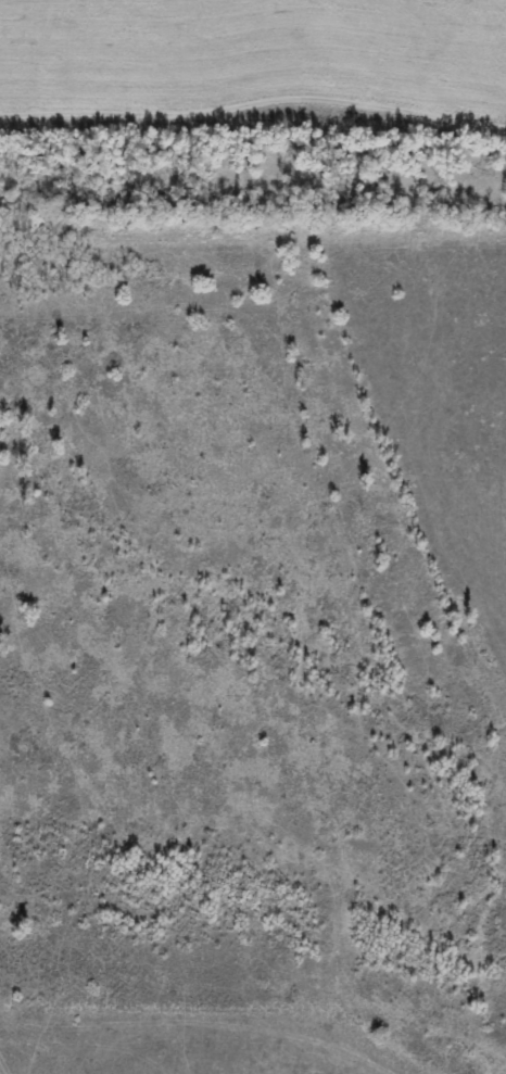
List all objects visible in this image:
road: (421, 102)
road: (253, 137)

